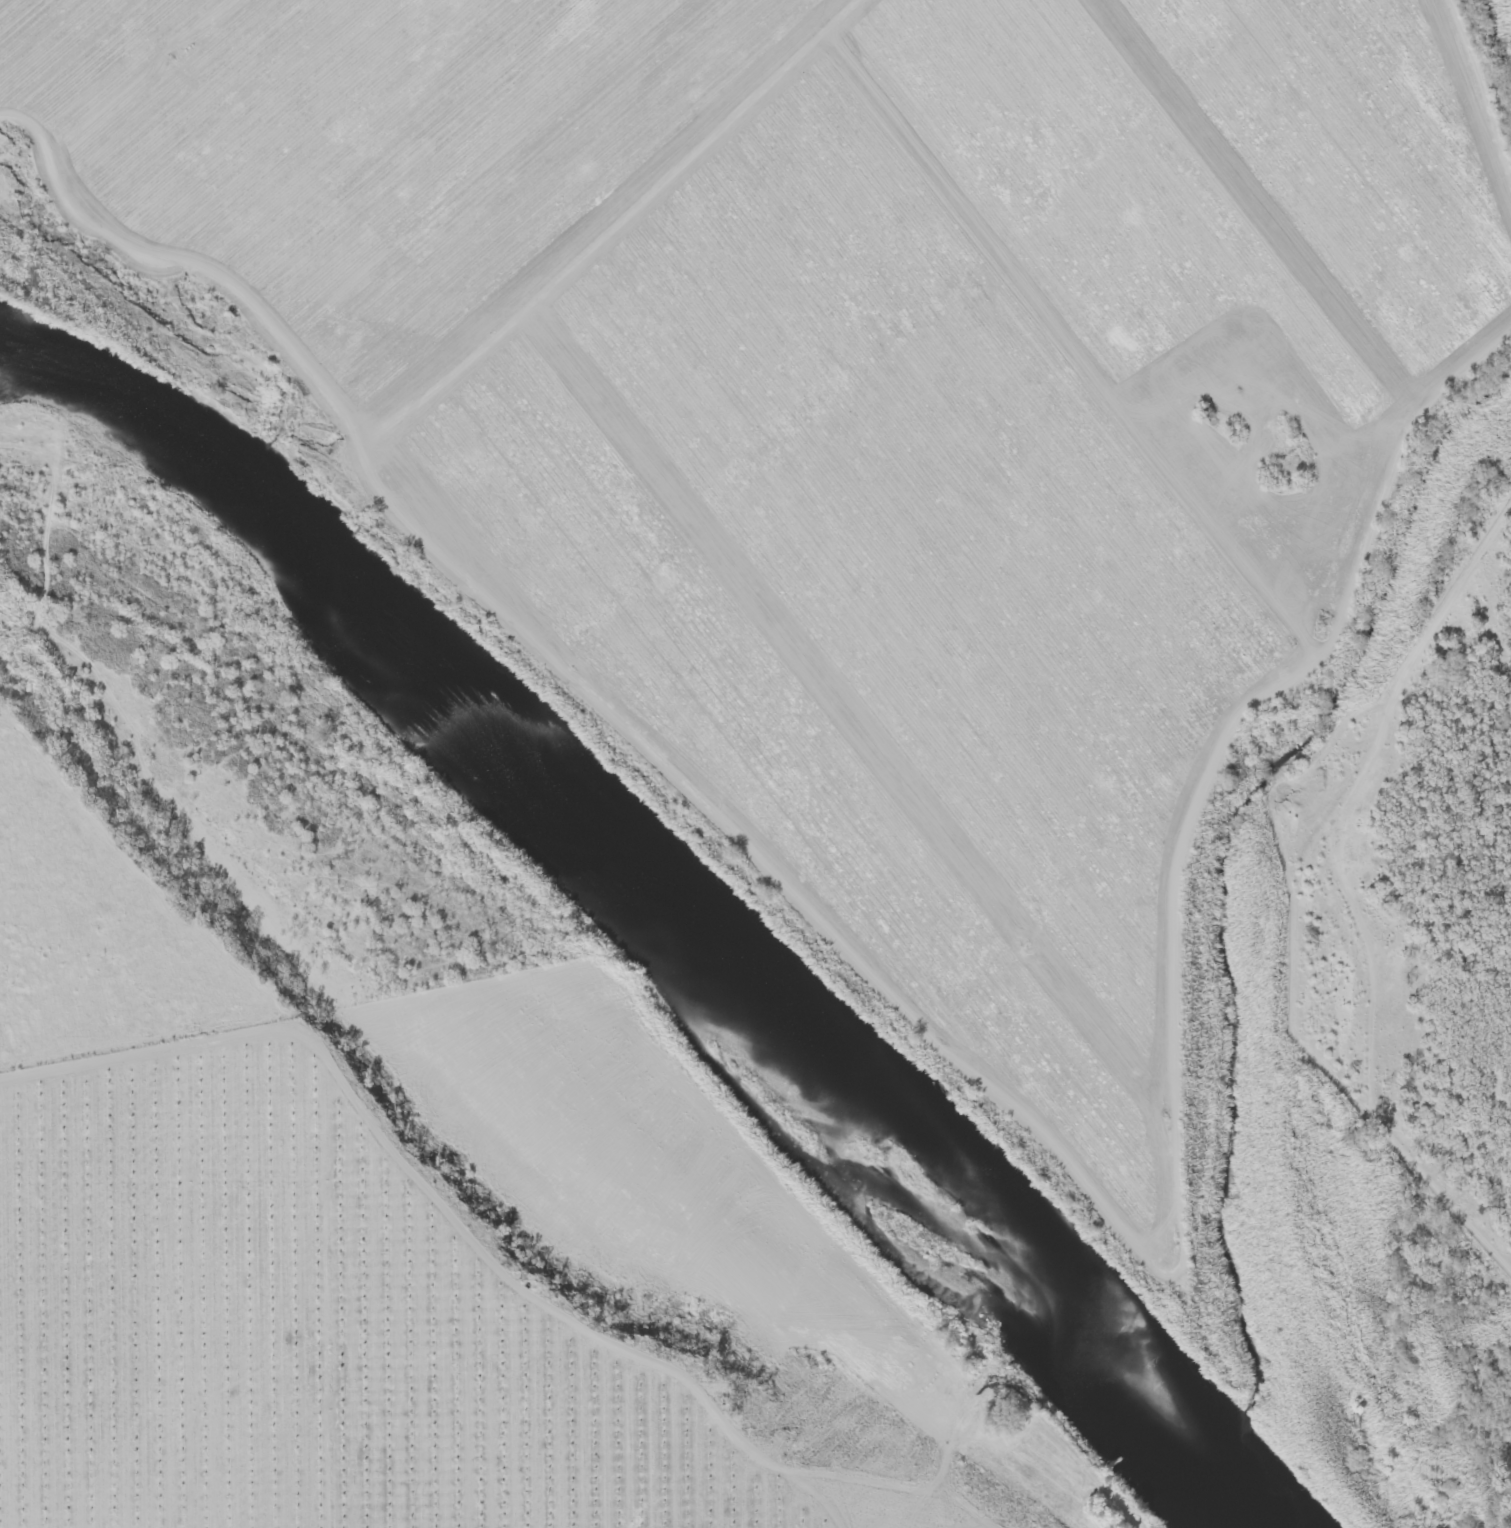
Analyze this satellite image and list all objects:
road: (607, 237)
road: (175, 336)
river: (657, 903)

